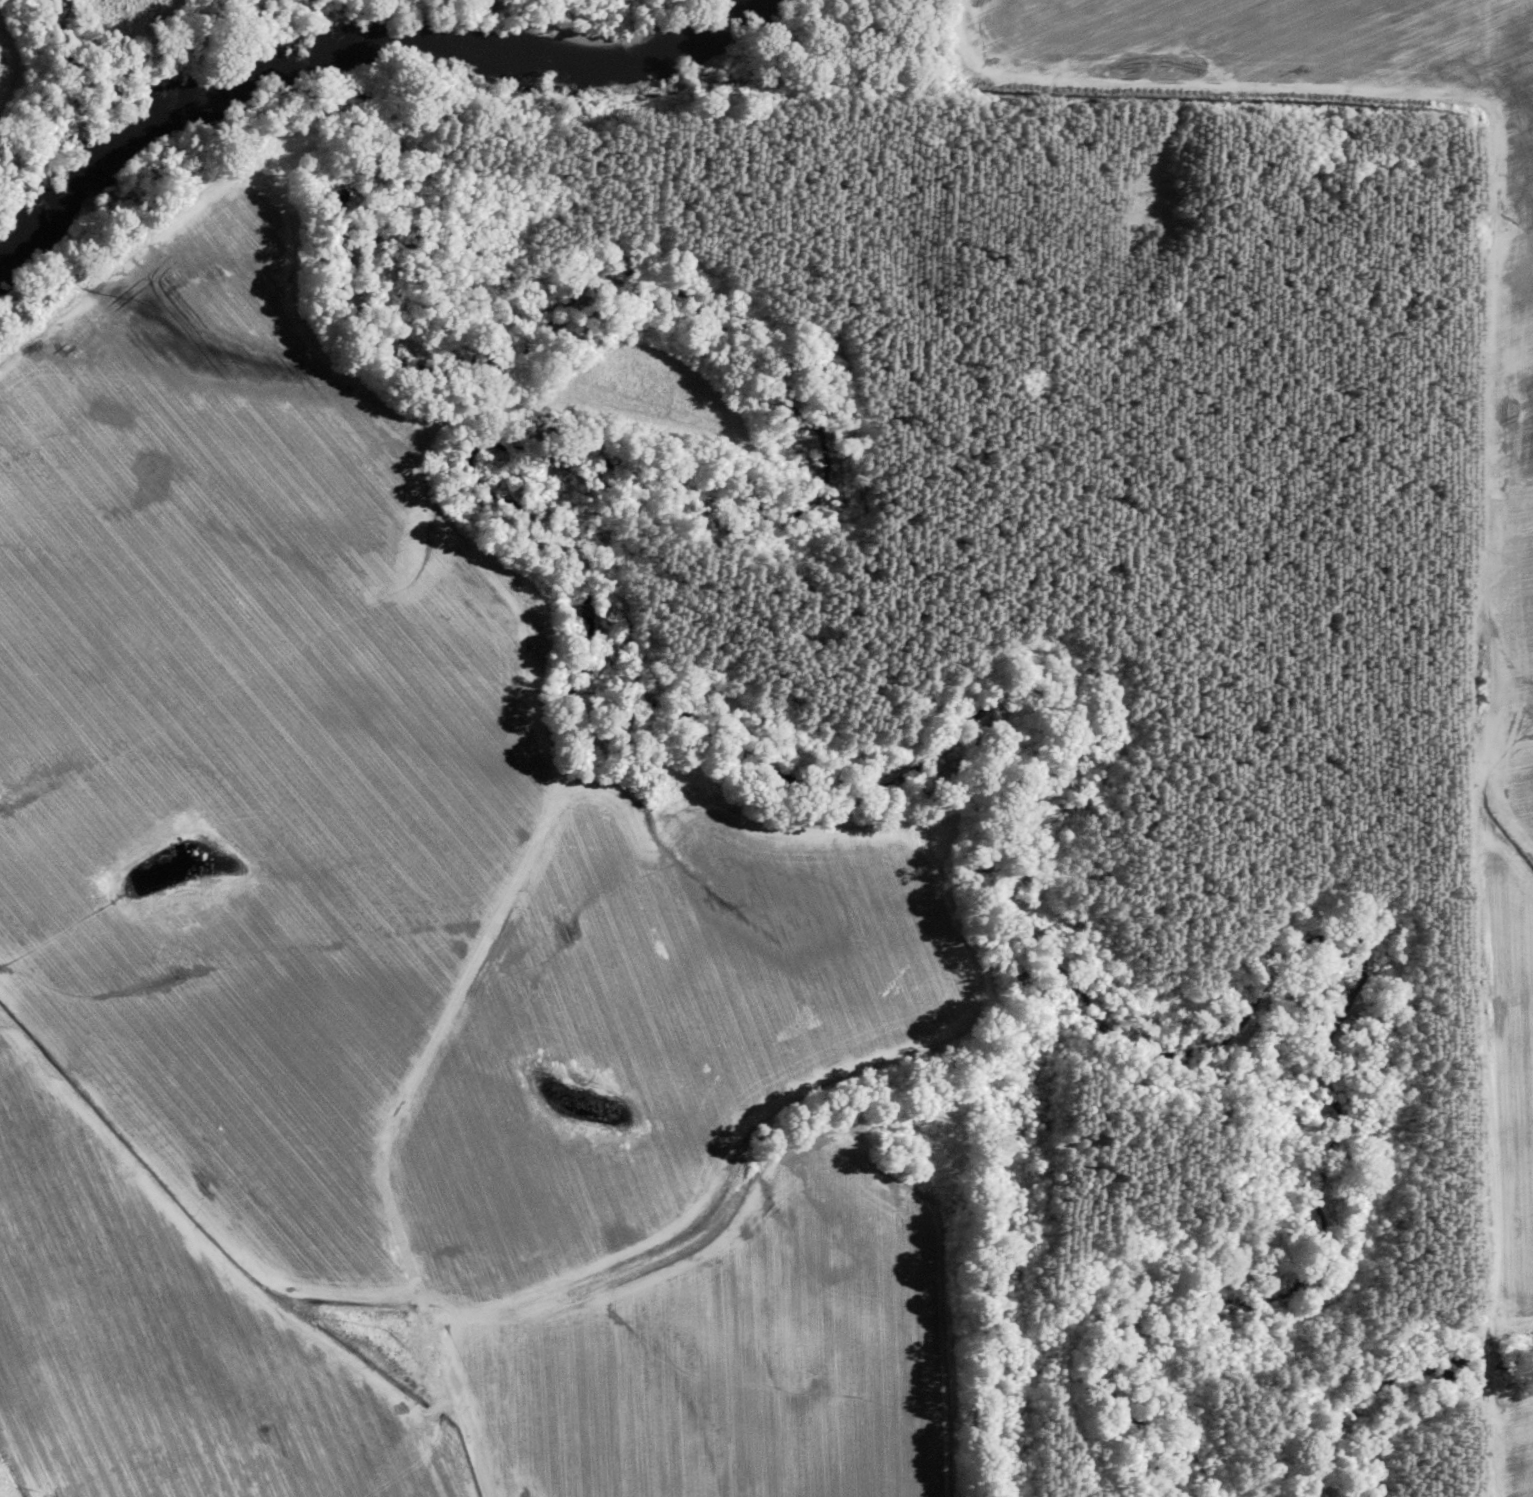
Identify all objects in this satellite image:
river: (332, 43)

